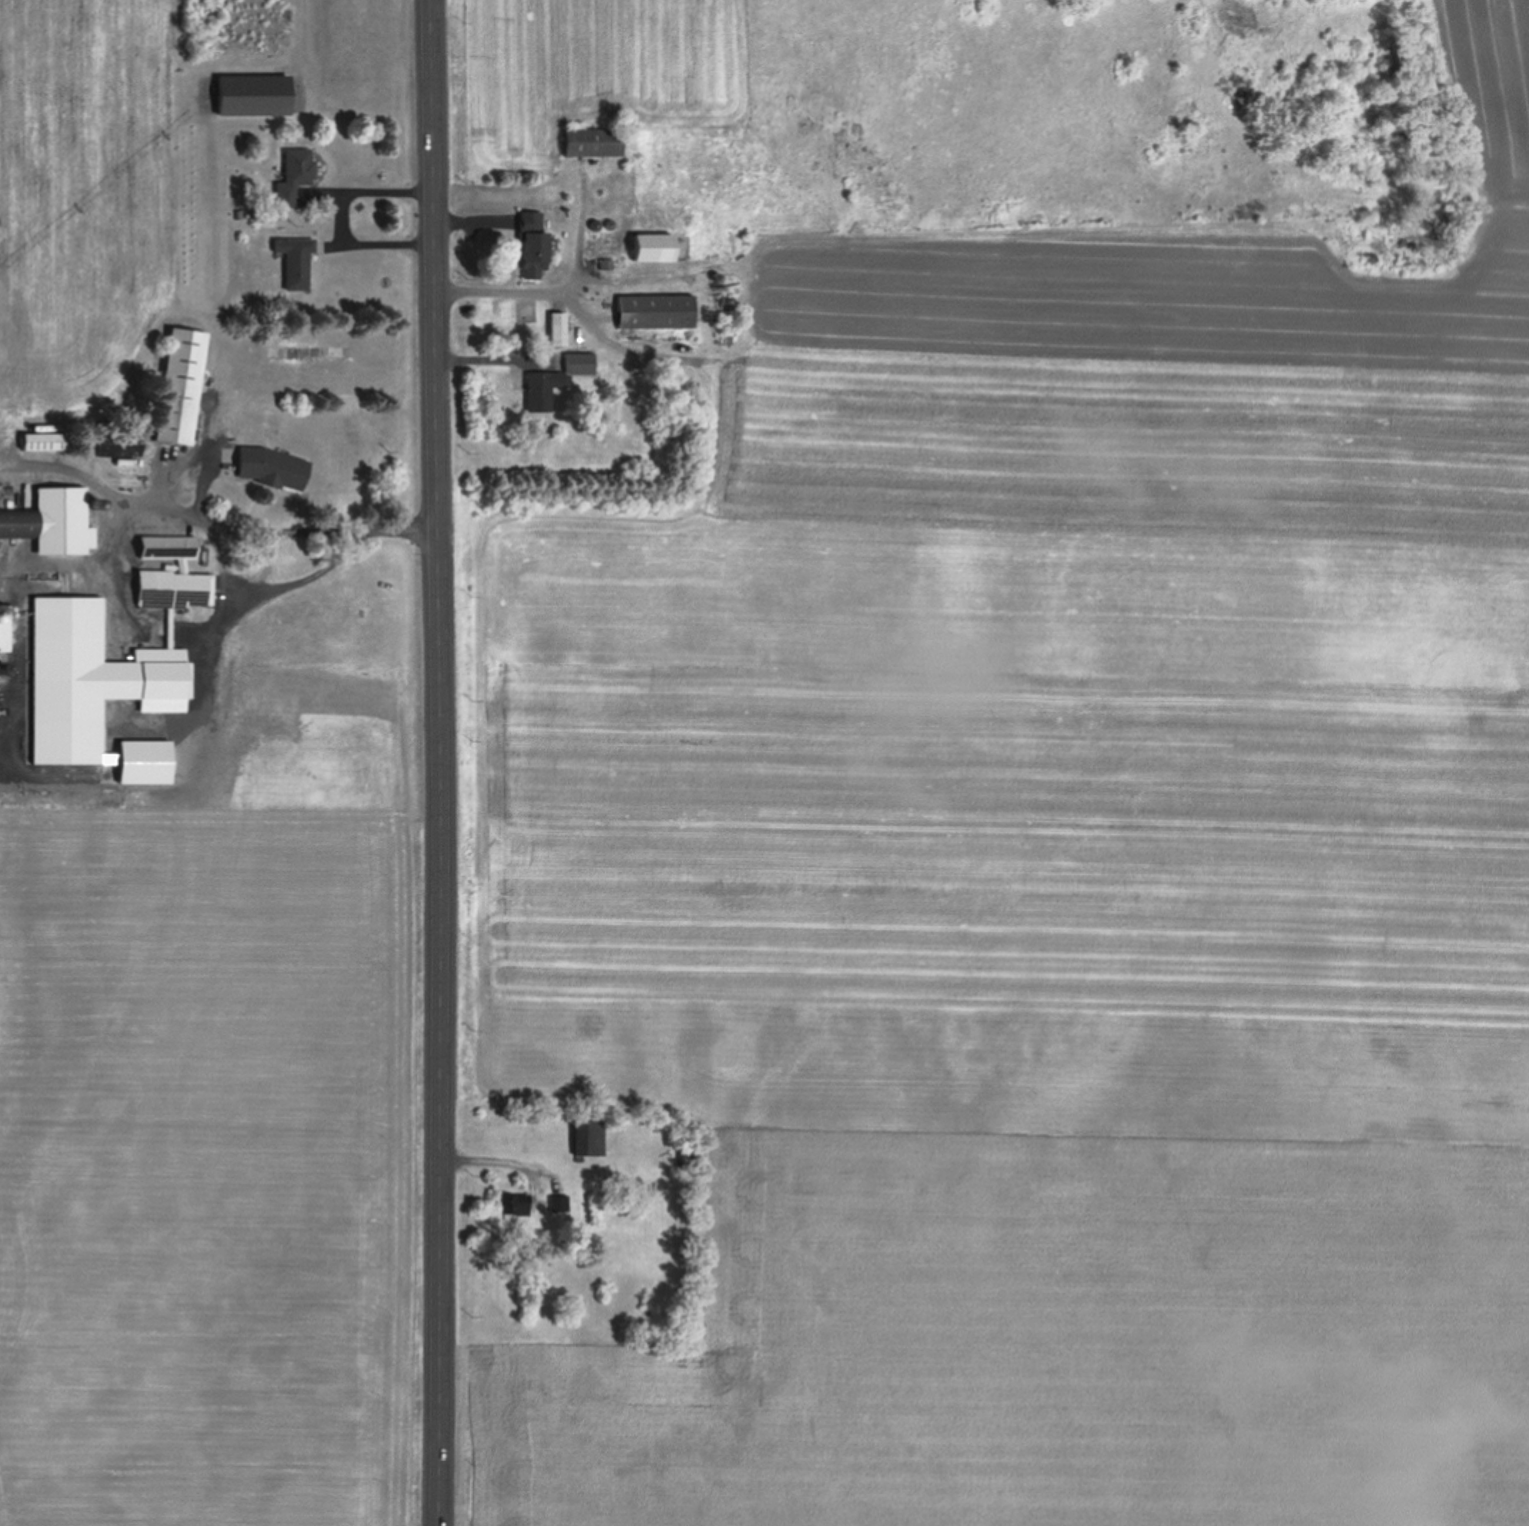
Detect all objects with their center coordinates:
building: (254, 94)
building: (592, 141)
building: (294, 175)
building: (533, 244)
building: (634, 247)
building: (296, 261)
building: (656, 311)
building: (557, 328)
building: (556, 380)
building: (180, 386)
building: (44, 441)
building: (118, 446)
building: (272, 468)
building: (18, 522)
building: (124, 612)
road: (443, 762)
building: (589, 1134)
building: (559, 1203)
building: (513, 1204)

